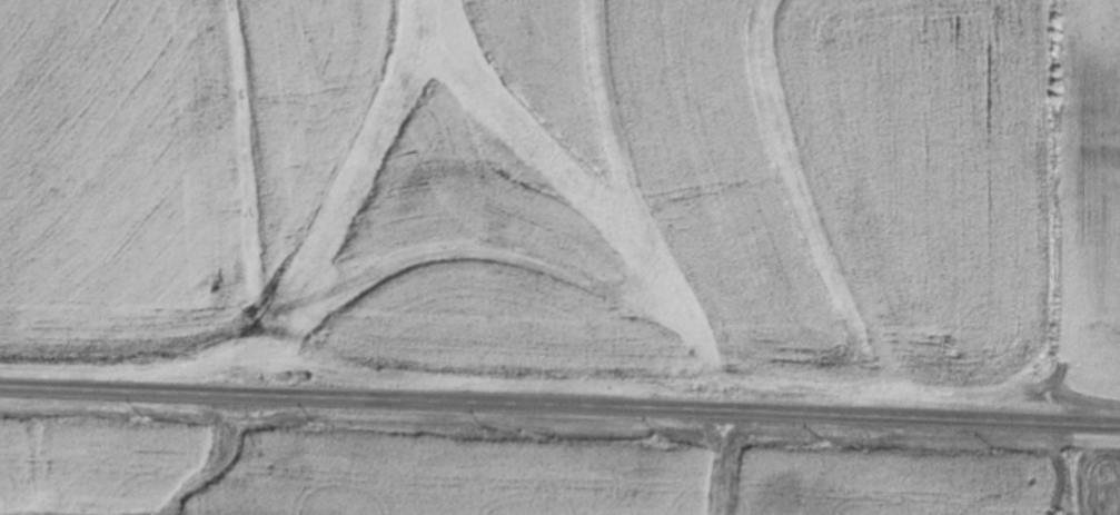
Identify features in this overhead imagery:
road: (559, 412)

